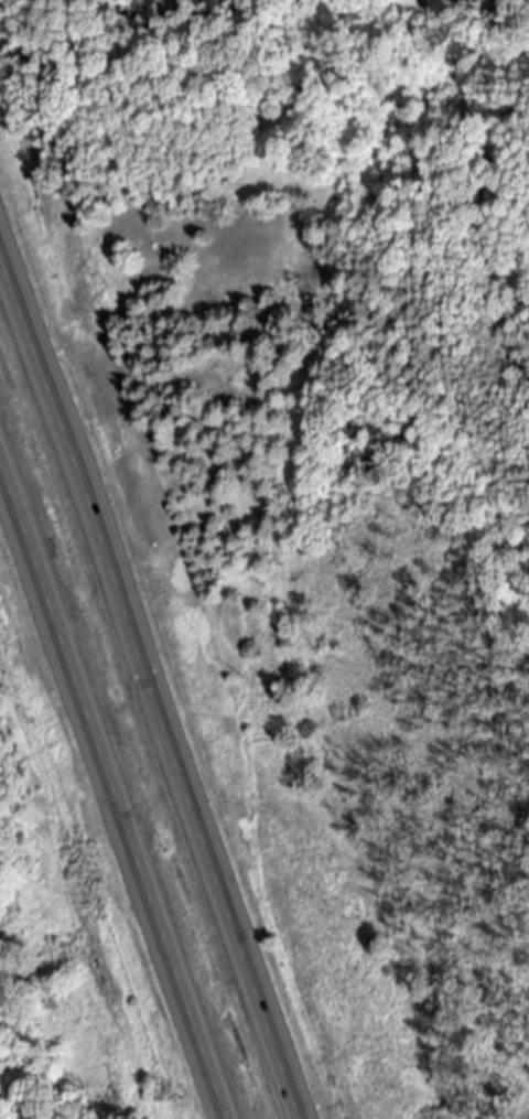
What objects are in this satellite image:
road: (152, 670)
road: (116, 779)

